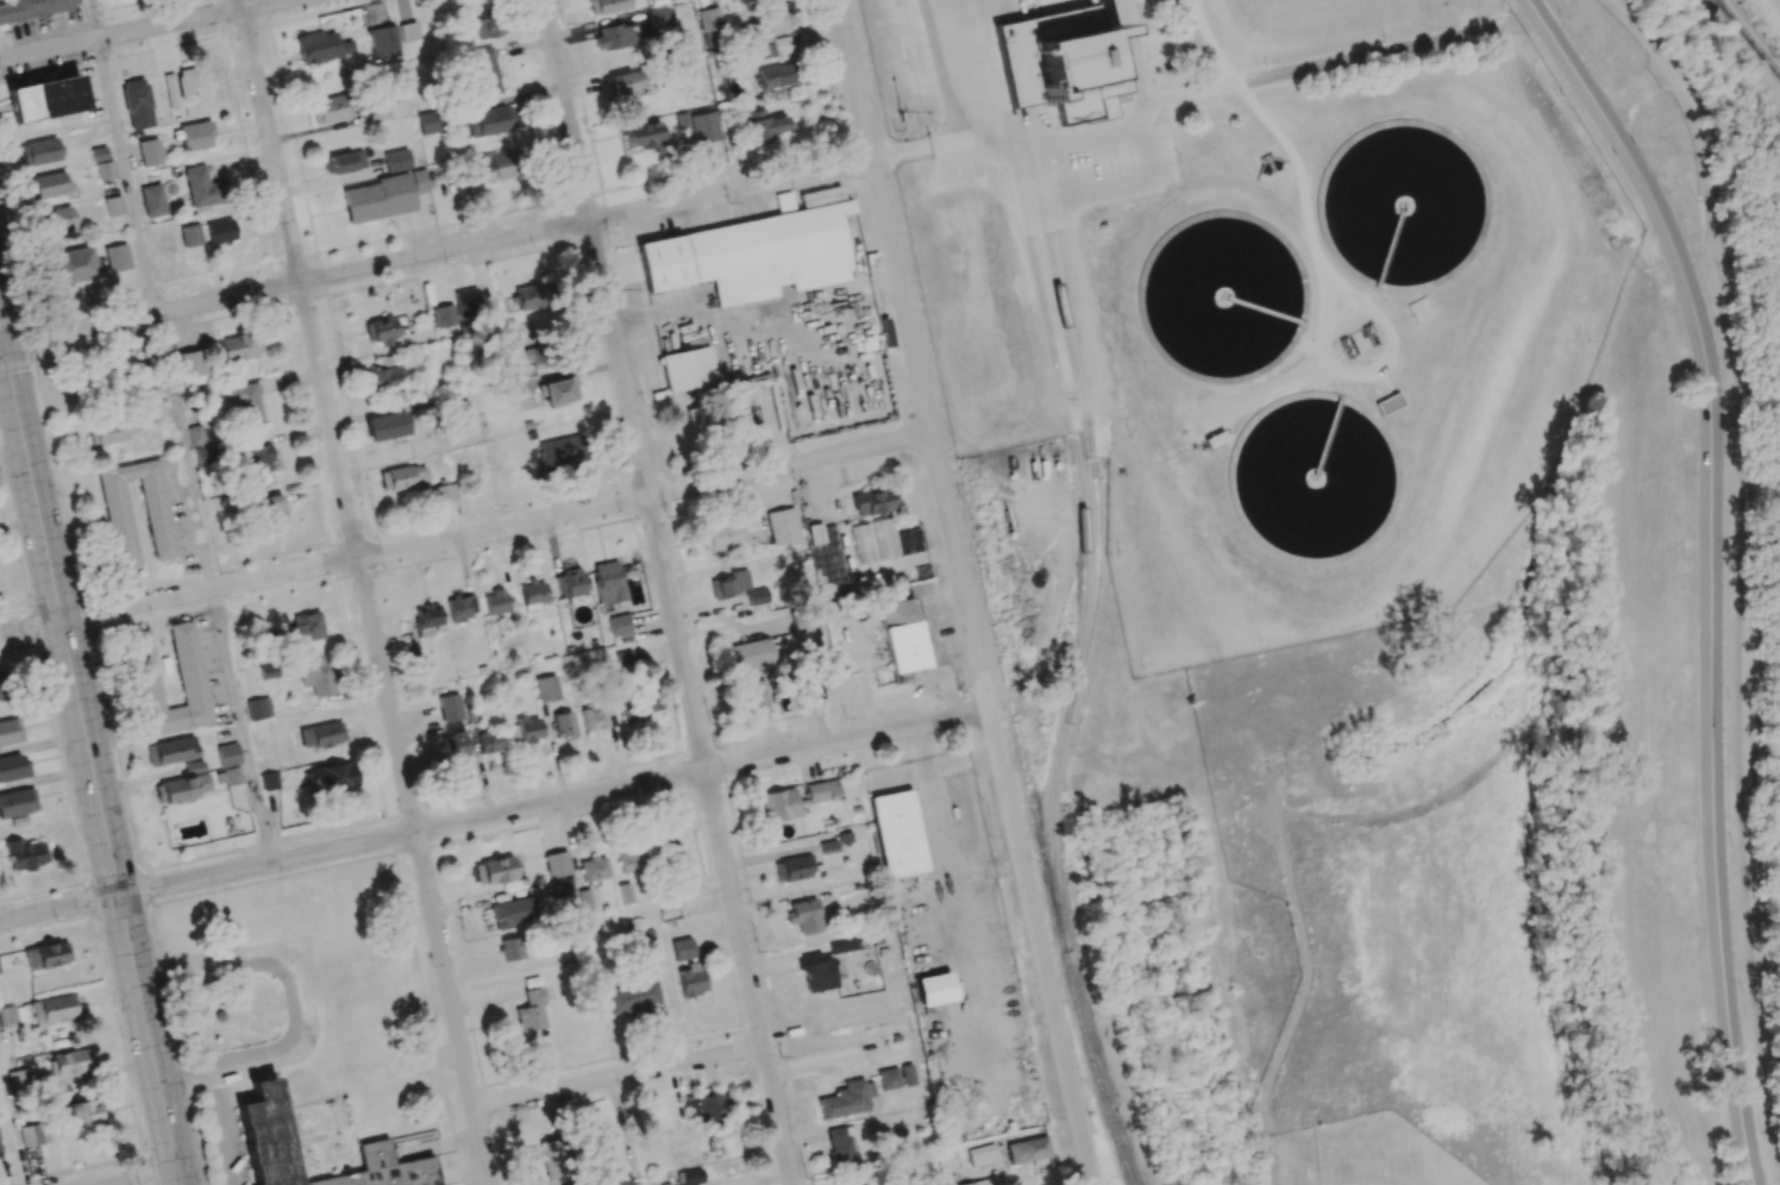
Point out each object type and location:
building: (607, 6)
building: (33, 8)
building: (659, 17)
road: (93, 19)
building: (773, 19)
building: (485, 25)
building: (709, 26)
road: (140, 30)
building: (408, 31)
road: (1630, 33)
building: (613, 37)
railway: (1745, 40)
building: (383, 43)
building: (322, 46)
building: (772, 48)
building: (1058, 57)
building: (484, 71)
building: (776, 76)
building: (190, 83)
building: (623, 83)
building: (170, 90)
road: (1628, 94)
building: (44, 99)
building: (137, 104)
building: (330, 108)
building: (378, 112)
building: (489, 121)
building: (428, 123)
building: (763, 126)
building: (704, 127)
road: (1686, 134)
building: (196, 136)
building: (643, 136)
building: (39, 151)
building: (149, 152)
building: (98, 153)
building: (396, 161)
building: (346, 162)
building: (495, 167)
building: (105, 170)
road: (127, 176)
building: (45, 186)
building: (202, 188)
road: (1682, 194)
building: (384, 196)
building: (152, 200)
building: (784, 202)
building: (113, 206)
building: (56, 220)
railway: (1058, 224)
building: (220, 231)
building: (190, 236)
railway: (1032, 245)
railway: (1048, 247)
road: (437, 253)
building: (750, 256)
building: (117, 258)
building: (70, 267)
building: (529, 297)
building: (465, 302)
building: (443, 315)
building: (382, 330)
road: (1, 337)
road: (31, 343)
building: (520, 344)
road: (1, 346)
traffic signals: (4, 346)
building: (239, 347)
building: (189, 368)
building: (687, 369)
building: (383, 374)
building: (559, 391)
building: (245, 402)
building: (1389, 403)
building: (460, 415)
building: (702, 418)
building: (387, 426)
building: (107, 434)
building: (195, 435)
road: (186, 451)
building: (559, 453)
building: (203, 456)
building: (258, 459)
building: (403, 477)
building: (445, 491)
building: (873, 502)
building: (270, 510)
building: (118, 519)
building: (782, 526)
road: (496, 528)
building: (815, 533)
building: (720, 537)
railway: (978, 537)
building: (885, 538)
building: (909, 541)
road: (1709, 571)
building: (572, 582)
building: (607, 582)
building: (741, 588)
road: (365, 591)
road: (667, 591)
road: (963, 592)
building: (533, 595)
railway: (1091, 600)
building: (495, 602)
building: (462, 608)
building: (426, 620)
building: (803, 621)
building: (619, 626)
road: (30, 627)
building: (306, 627)
building: (901, 635)
building: (750, 654)
building: (625, 662)
building: (188, 670)
building: (267, 671)
building: (318, 676)
building: (4, 688)
building: (547, 689)
road: (1736, 692)
building: (752, 697)
building: (257, 708)
building: (450, 708)
building: (640, 708)
railway: (1067, 708)
building: (597, 717)
building: (563, 725)
road: (244, 726)
building: (528, 731)
building: (10, 732)
building: (321, 735)
building: (455, 742)
building: (490, 742)
building: (170, 751)
building: (227, 755)
road: (92, 765)
building: (12, 767)
building: (330, 778)
building: (269, 782)
building: (183, 788)
building: (234, 788)
building: (821, 791)
building: (17, 802)
road: (552, 803)
building: (779, 805)
railway: (1034, 817)
road: (1386, 817)
building: (896, 834)
building: (667, 851)
building: (26, 854)
building: (557, 864)
building: (593, 869)
building: (792, 869)
building: (494, 871)
building: (628, 874)
road: (115, 880)
building: (562, 888)
building: (584, 898)
building: (669, 903)
road: (59, 907)
building: (513, 911)
park: (1425, 915)
building: (804, 916)
building: (844, 946)
building: (512, 949)
building: (682, 949)
building: (46, 955)
building: (0, 972)
building: (817, 972)
building: (691, 979)
road: (1303, 984)
building: (933, 990)
building: (634, 995)
road: (290, 998)
building: (531, 1007)
building: (55, 1009)
building: (7, 1016)
building: (69, 1062)
building: (908, 1074)
road: (619, 1078)
building: (889, 1079)
building: (19, 1081)
building: (846, 1099)
building: (707, 1106)
building: (84, 1114)
building: (262, 1122)
road: (11, 1129)
building: (30, 1135)
building: (841, 1148)
building: (1029, 1152)
building: (0, 1154)
park: (1383, 1154)
building: (982, 1155)
building: (552, 1160)
building: (690, 1177)
road: (143, 1178)
building: (613, 1180)
building: (979, 1181)

